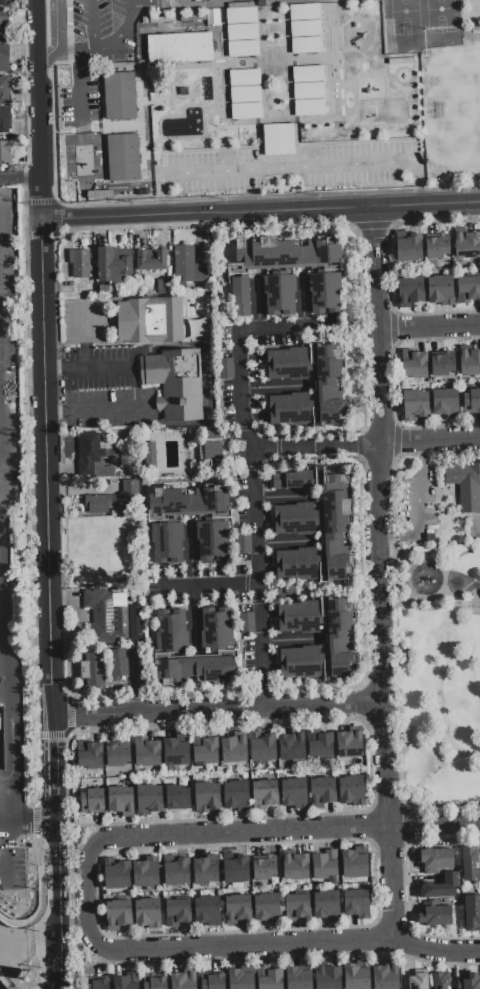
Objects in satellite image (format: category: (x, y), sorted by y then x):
building: (3, 3)
road: (92, 21)
building: (3, 23)
road: (55, 23)
parking lot: (105, 29)
building: (305, 29)
road: (38, 32)
building: (242, 34)
road: (107, 37)
building: (179, 48)
road: (47, 55)
building: (4, 59)
building: (4, 90)
building: (309, 92)
building: (118, 95)
building: (245, 95)
park: (460, 110)
building: (5, 121)
building: (278, 142)
building: (5, 152)
building: (121, 157)
road: (290, 167)
parking lot: (289, 168)
road: (20, 181)
road: (428, 206)
road: (209, 214)
building: (467, 245)
building: (438, 247)
building: (409, 248)
building: (284, 253)
building: (151, 261)
building: (79, 263)
building: (113, 264)
building: (189, 269)
building: (163, 286)
building: (104, 289)
building: (468, 289)
building: (440, 290)
building: (410, 291)
building: (325, 293)
building: (240, 295)
building: (279, 295)
building: (150, 320)
road: (431, 329)
road: (86, 337)
building: (470, 363)
building: (289, 364)
building: (443, 364)
building: (416, 366)
building: (227, 369)
building: (175, 383)
building: (329, 386)
road: (135, 388)
building: (471, 401)
building: (446, 404)
building: (415, 405)
building: (290, 409)
road: (46, 442)
road: (433, 443)
road: (321, 448)
building: (90, 452)
building: (213, 453)
building: (150, 457)
road: (256, 470)
building: (109, 471)
building: (293, 479)
building: (466, 485)
building: (100, 503)
building: (190, 503)
road: (419, 506)
road: (381, 517)
building: (296, 518)
building: (335, 526)
building: (213, 540)
building: (167, 542)
building: (243, 544)
road: (399, 554)
road: (419, 561)
road: (7, 562)
building: (297, 564)
road: (211, 585)
road: (401, 605)
road: (464, 609)
building: (101, 614)
building: (300, 617)
building: (122, 620)
building: (246, 623)
park: (436, 627)
building: (216, 629)
building: (172, 631)
building: (135, 637)
building: (339, 638)
building: (301, 663)
building: (119, 664)
building: (195, 670)
building: (92, 671)
road: (439, 675)
road: (220, 712)
building: (350, 742)
building: (292, 745)
building: (320, 745)
road: (451, 745)
building: (263, 747)
building: (234, 748)
building: (205, 750)
building: (176, 751)
building: (147, 752)
road: (456, 755)
building: (91, 756)
building: (117, 756)
building: (224, 769)
building: (352, 790)
building: (323, 791)
building: (294, 793)
building: (265, 794)
building: (237, 796)
building: (207, 797)
building: (178, 798)
building: (149, 799)
building: (121, 800)
building: (92, 801)
road: (28, 823)
road: (437, 825)
road: (254, 833)
road: (5, 847)
building: (436, 860)
building: (325, 864)
building: (355, 864)
building: (470, 865)
building: (296, 867)
building: (206, 869)
building: (264, 869)
building: (236, 870)
road: (2, 871)
building: (176, 872)
building: (146, 873)
building: (118, 876)
road: (39, 881)
road: (396, 883)
building: (237, 885)
road: (56, 886)
building: (440, 887)
building: (357, 904)
building: (327, 905)
building: (297, 907)
building: (268, 908)
building: (237, 909)
building: (208, 911)
building: (147, 912)
building: (472, 912)
building: (178, 913)
building: (118, 914)
building: (436, 916)
road: (3, 918)
road: (232, 946)
road: (57, 969)
building: (357, 975)
building: (328, 977)
building: (386, 977)
building: (269, 978)
building: (298, 978)
building: (240, 979)
building: (183, 980)
building: (126, 981)
building: (418, 981)
building: (440, 981)
building: (472, 981)
road: (5, 982)
building: (212, 982)
building: (156, 983)
building: (98, 984)

